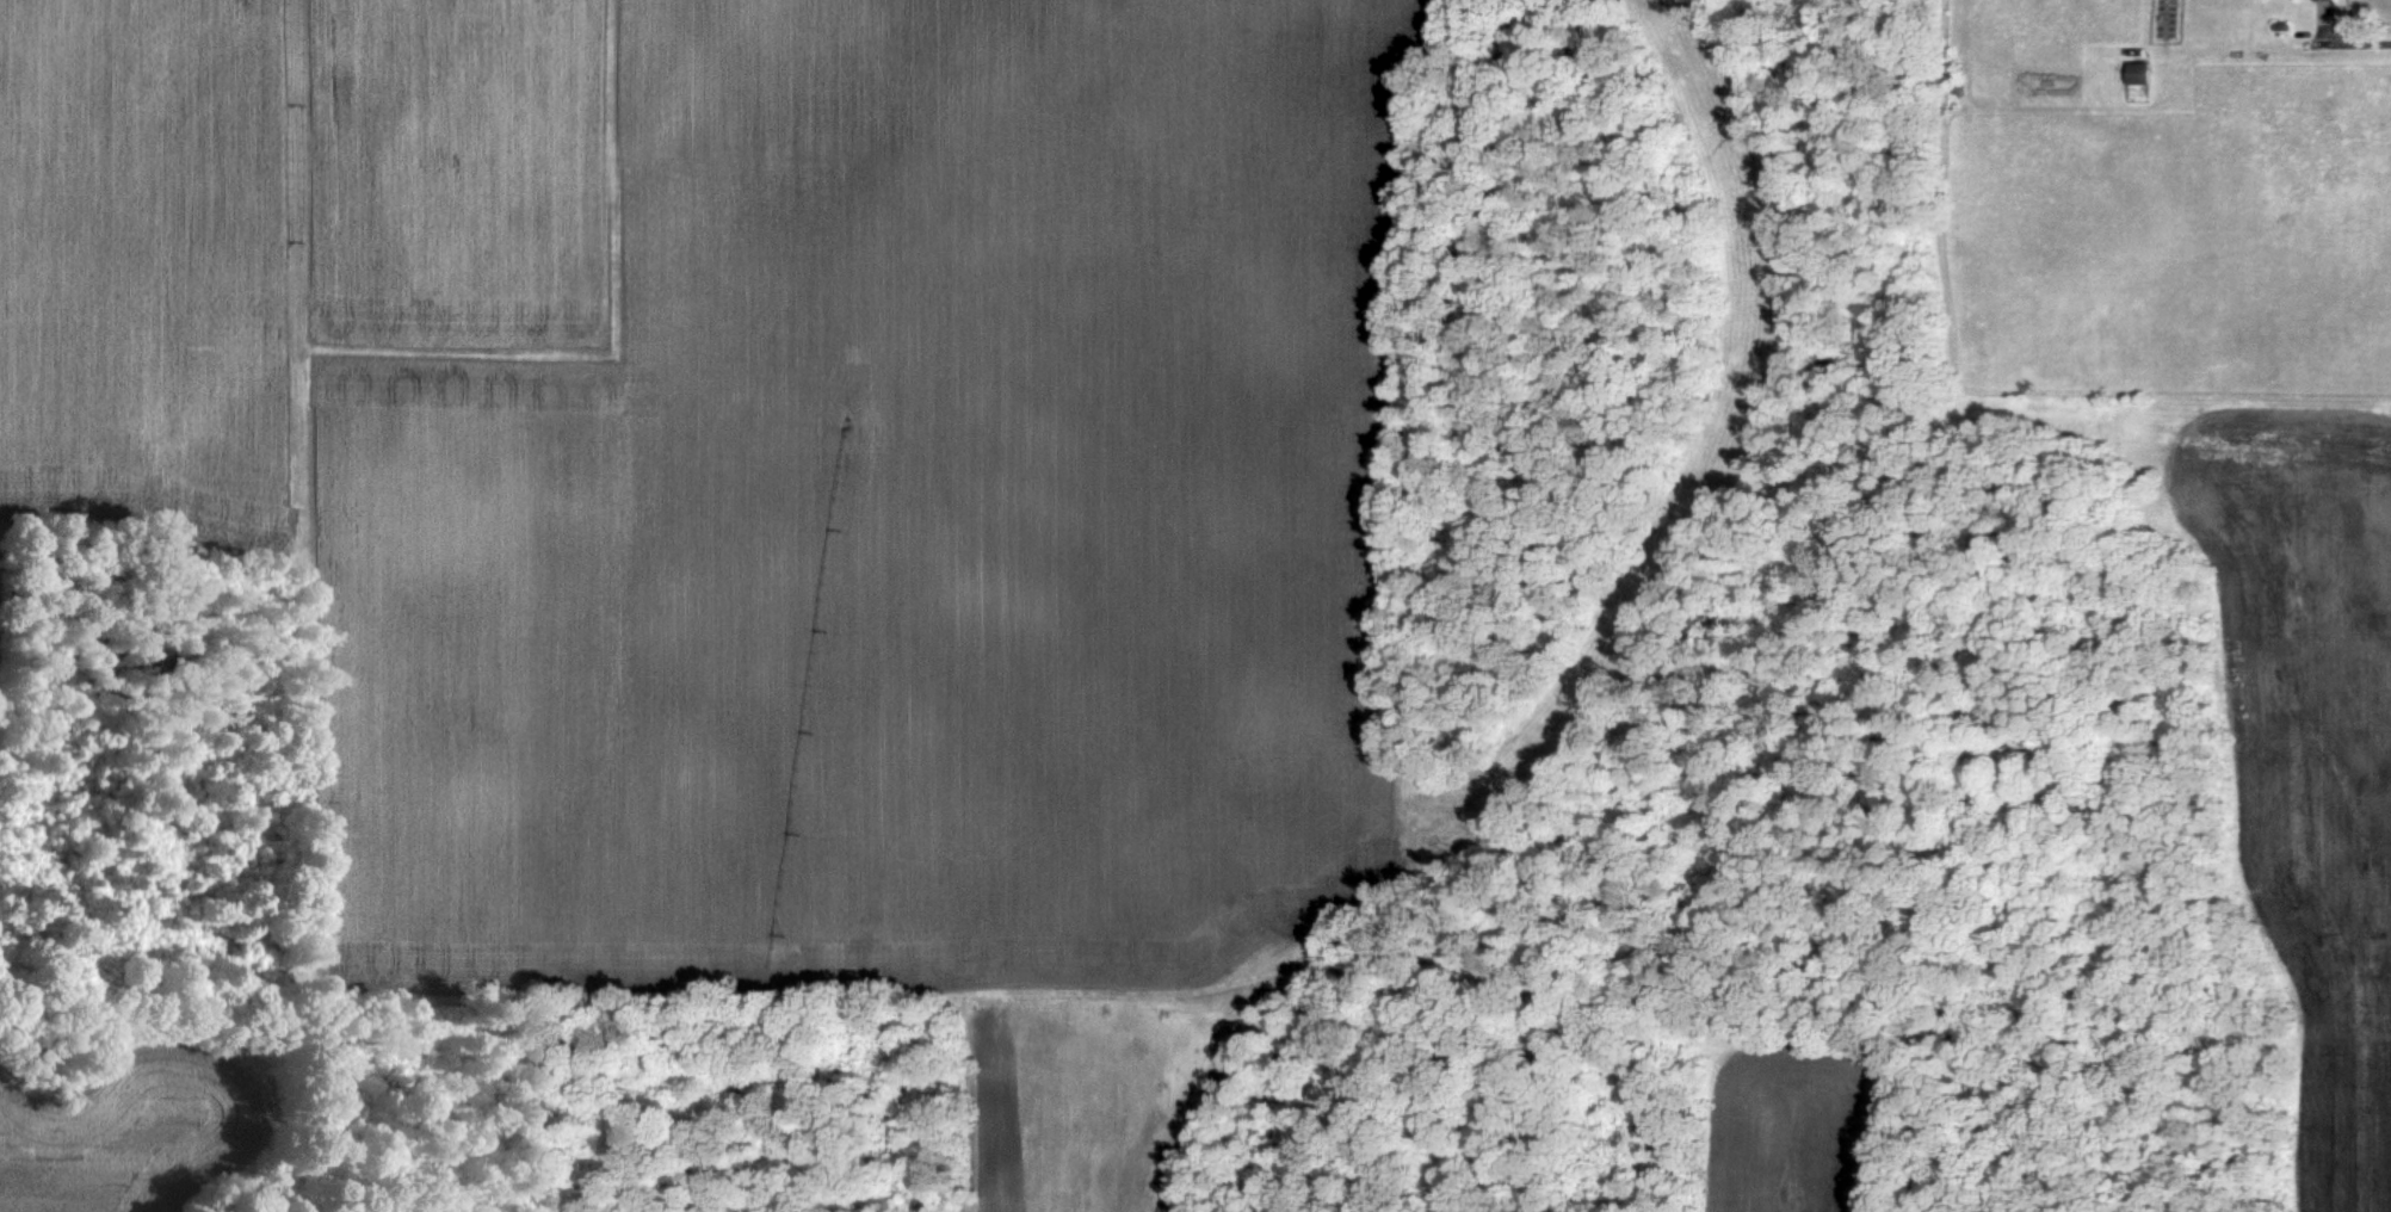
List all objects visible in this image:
road: (2356, 38)
building: (2140, 72)

